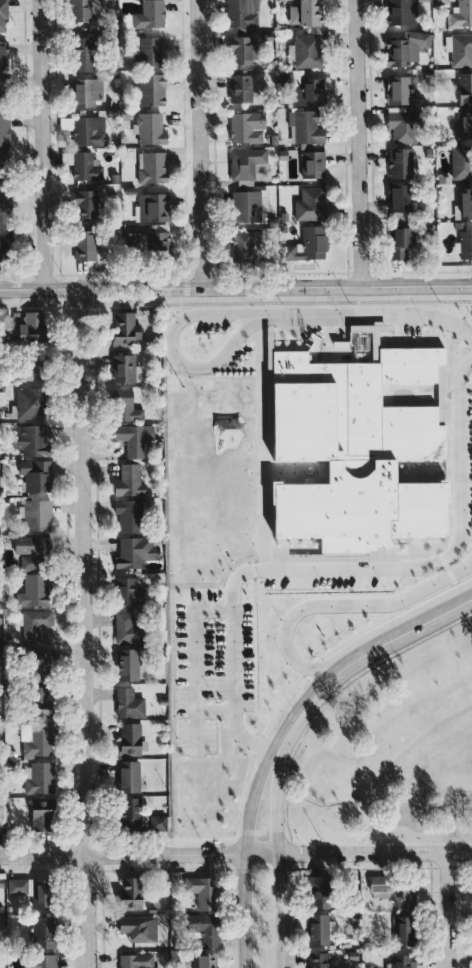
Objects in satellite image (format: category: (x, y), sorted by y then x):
building: (438, 1)
building: (76, 10)
building: (238, 13)
building: (301, 13)
building: (460, 13)
building: (147, 15)
building: (3, 16)
building: (403, 48)
building: (236, 50)
building: (460, 50)
building: (145, 51)
building: (303, 51)
building: (78, 54)
building: (5, 55)
building: (5, 88)
building: (237, 88)
building: (462, 88)
building: (148, 90)
building: (395, 90)
building: (83, 92)
building: (305, 92)
building: (395, 123)
building: (462, 126)
building: (243, 127)
building: (302, 127)
building: (147, 129)
building: (5, 130)
building: (85, 131)
road: (358, 143)
road: (41, 144)
road: (198, 144)
building: (5, 162)
building: (243, 162)
building: (397, 163)
building: (460, 163)
building: (309, 166)
building: (82, 167)
building: (148, 167)
building: (393, 198)
building: (261, 200)
building: (82, 202)
building: (463, 203)
building: (306, 204)
building: (6, 206)
building: (242, 206)
building: (149, 207)
building: (126, 235)
building: (154, 243)
building: (394, 243)
building: (464, 244)
building: (5, 245)
building: (304, 245)
building: (86, 246)
building: (237, 247)
road: (236, 288)
road: (367, 318)
building: (35, 326)
building: (127, 329)
road: (172, 356)
building: (126, 368)
building: (30, 402)
building: (127, 405)
building: (134, 437)
building: (34, 440)
road: (259, 446)
building: (351, 451)
building: (37, 474)
building: (130, 480)
building: (38, 514)
building: (132, 515)
building: (136, 551)
building: (32, 552)
road: (345, 573)
building: (35, 590)
building: (127, 590)
road: (345, 610)
building: (35, 625)
building: (128, 627)
road: (83, 628)
road: (366, 654)
building: (132, 665)
building: (129, 703)
building: (131, 738)
building: (37, 740)
park: (393, 750)
building: (129, 776)
building: (40, 778)
road: (345, 801)
park: (463, 802)
building: (45, 810)
building: (132, 813)
building: (159, 822)
building: (3, 826)
road: (372, 826)
road: (245, 847)
road: (280, 851)
road: (376, 851)
road: (140, 853)
building: (18, 886)
building: (397, 890)
building: (45, 892)
building: (200, 892)
building: (323, 892)
building: (134, 893)
road: (447, 909)
building: (140, 928)
building: (206, 928)
building: (321, 928)
building: (407, 931)
building: (45, 932)
building: (321, 960)
building: (43, 961)
building: (137, 961)
building: (208, 961)
building: (404, 961)

